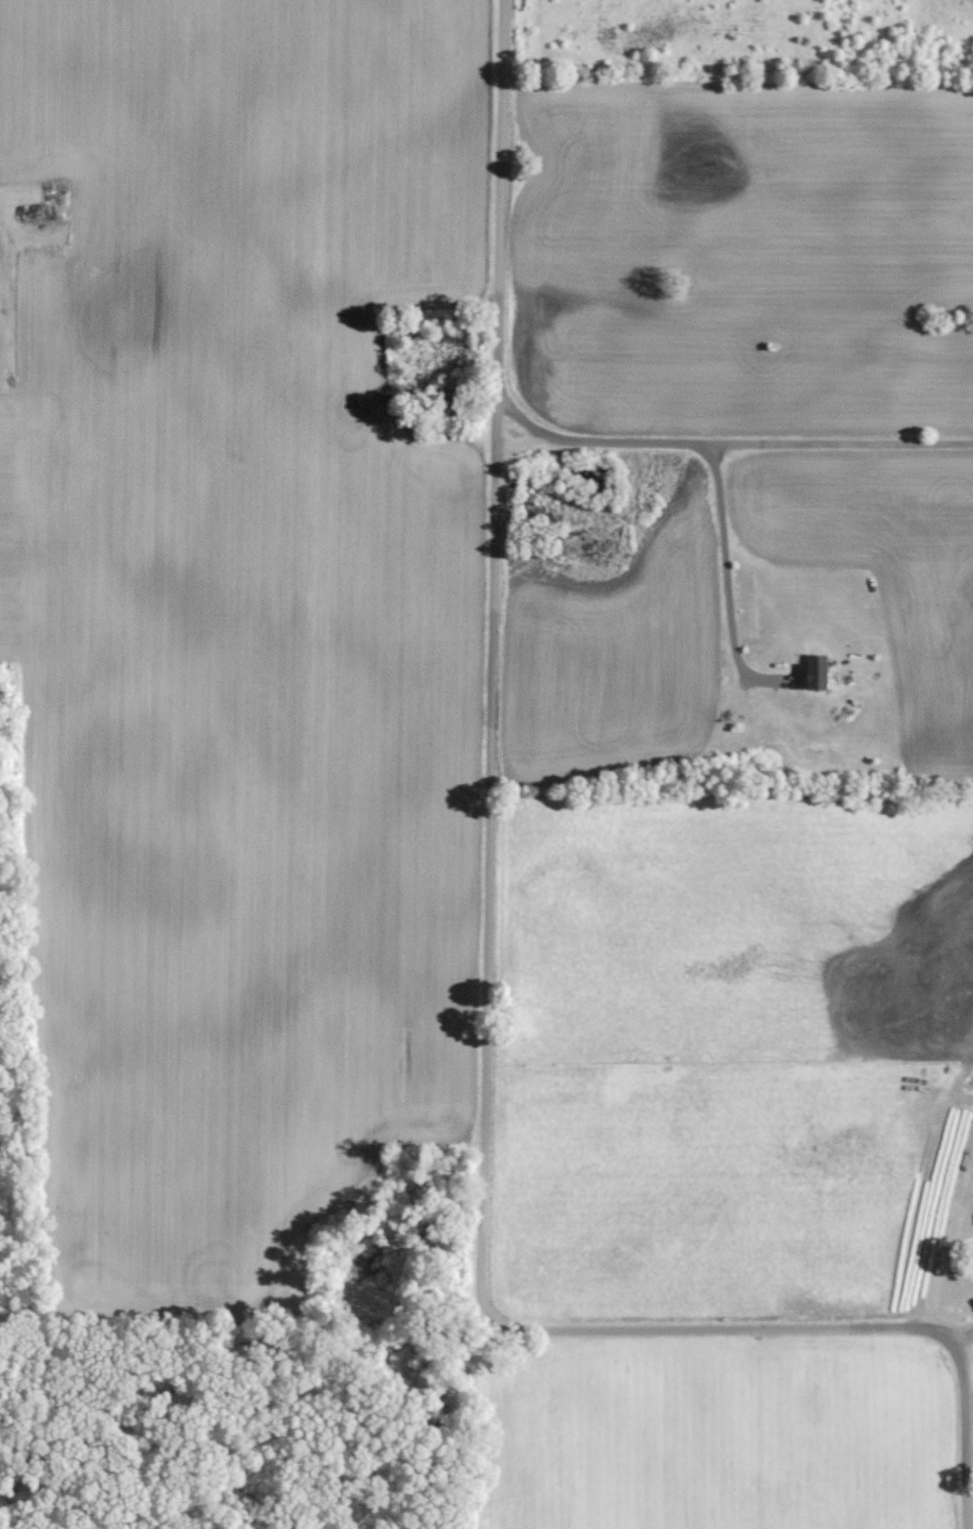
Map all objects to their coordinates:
road: (733, 444)
road: (726, 576)
building: (811, 672)
road: (489, 710)
road: (773, 1327)
road: (966, 1335)
road: (961, 1434)

